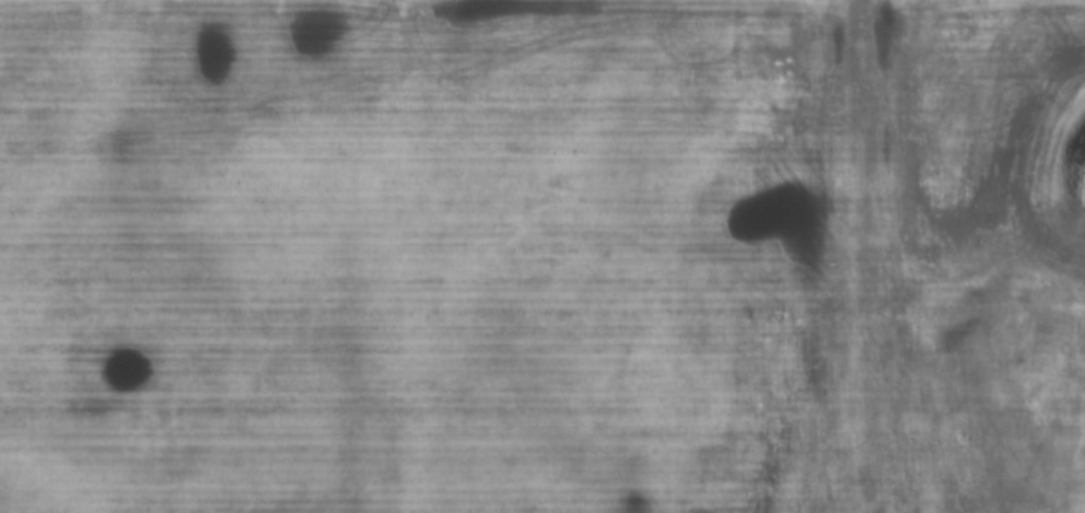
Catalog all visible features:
road: (868, 260)

